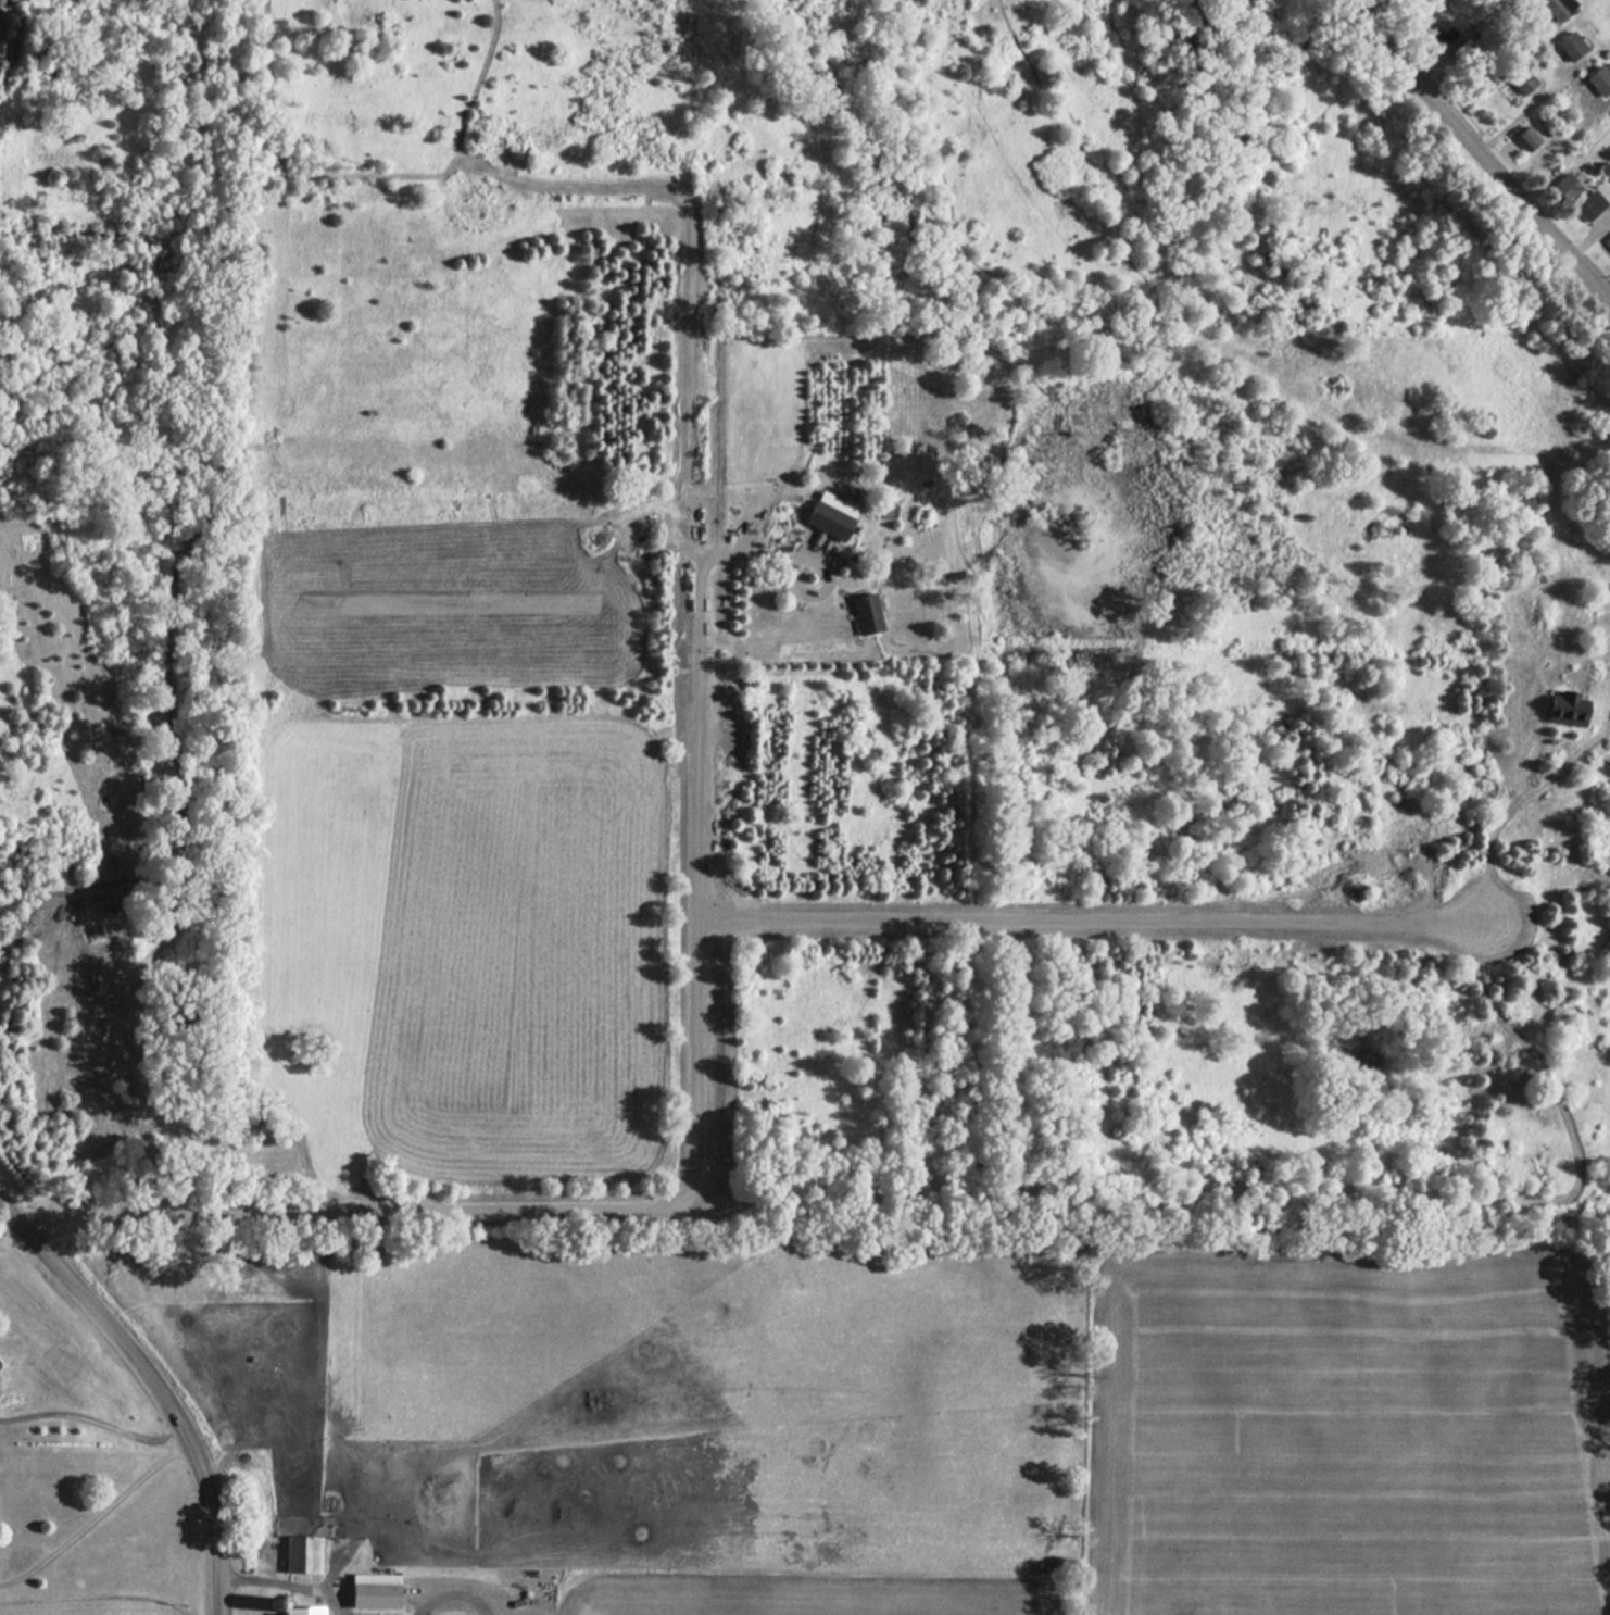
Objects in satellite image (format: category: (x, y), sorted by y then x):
building: (1556, 8)
road: (1369, 11)
road: (1399, 22)
building: (1444, 32)
building: (1571, 46)
building: (1599, 78)
building: (1485, 79)
building: (1523, 80)
road: (1526, 110)
building: (1527, 138)
road: (1473, 151)
building: (1567, 187)
building: (1589, 204)
building: (1607, 239)
building: (831, 515)
road: (806, 558)
building: (866, 613)
building: (1564, 708)
road: (1078, 918)
road: (663, 1200)
road: (152, 1391)
road: (89, 1414)
road: (93, 1517)
building: (305, 1554)
road: (291, 1577)
building: (376, 1590)
building: (304, 1611)

